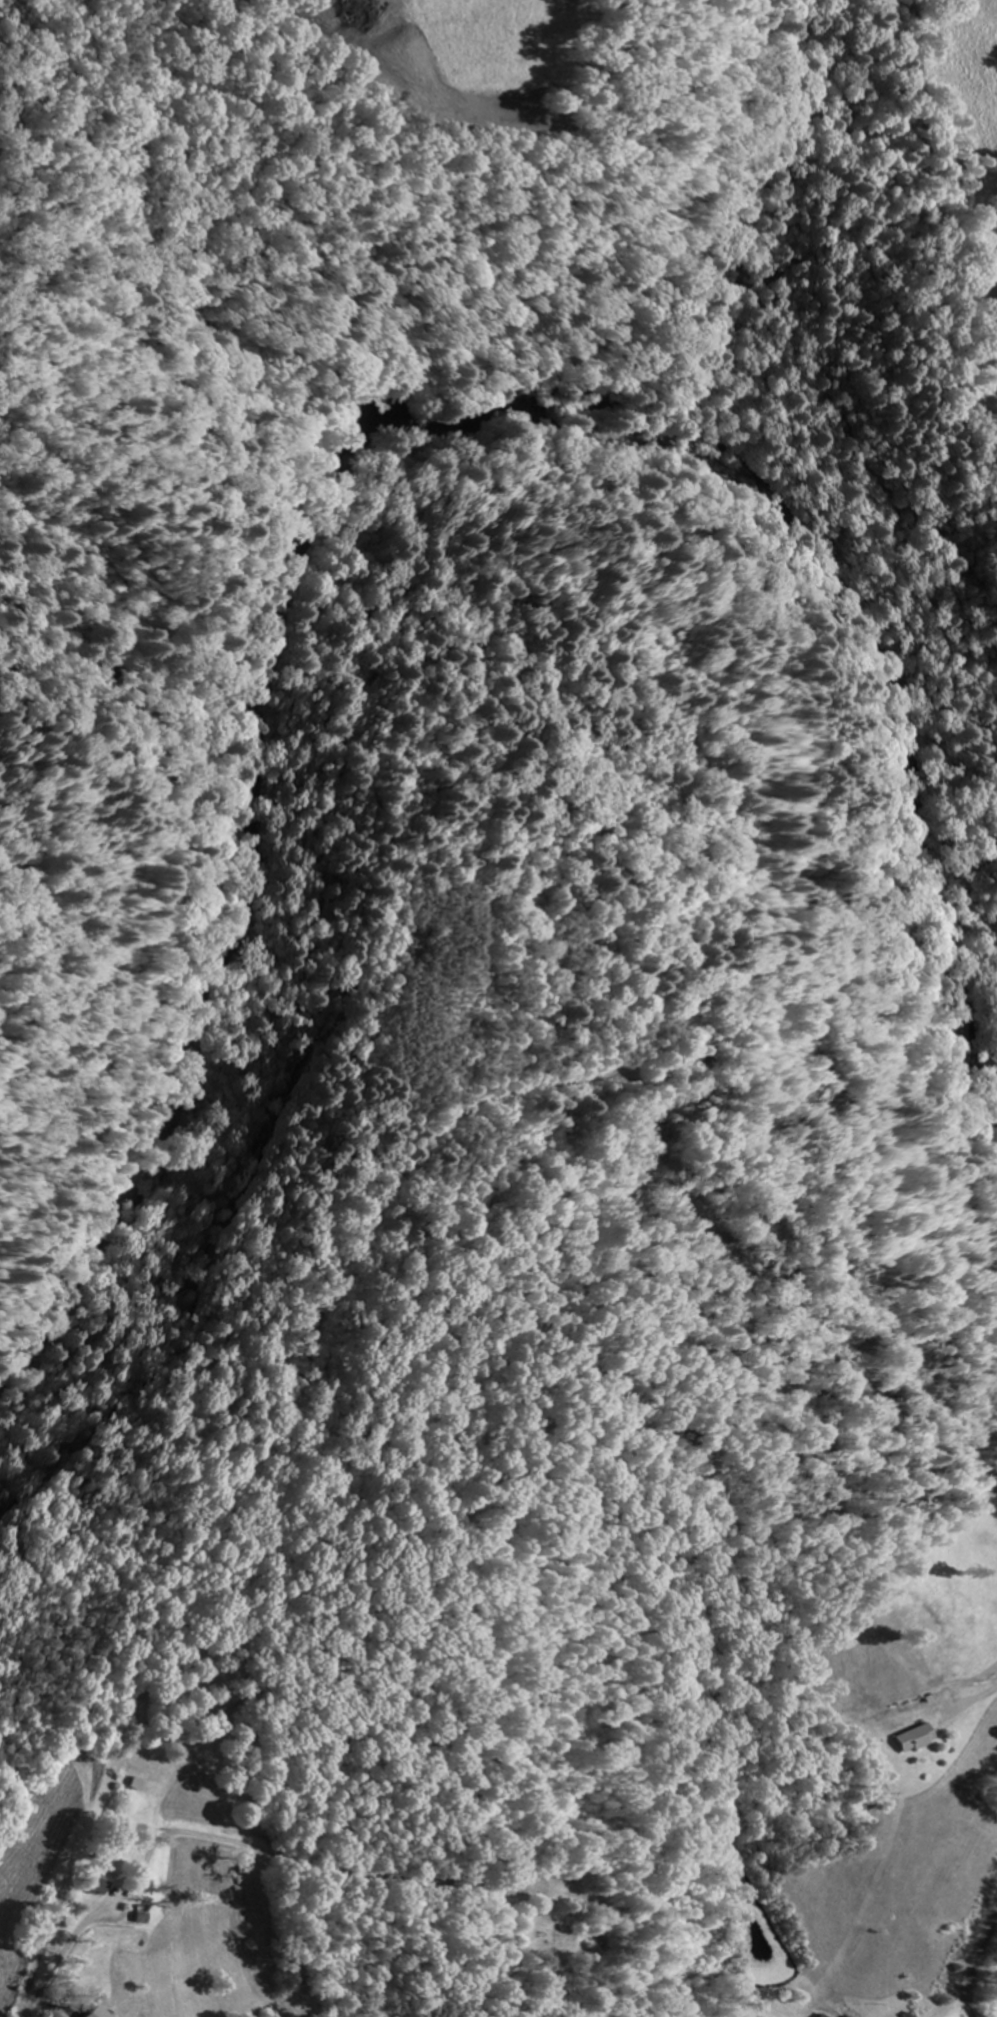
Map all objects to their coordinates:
road: (973, 1701)
building: (918, 1738)
building: (101, 1879)
road: (67, 1952)
building: (96, 2013)
building: (827, 2016)

